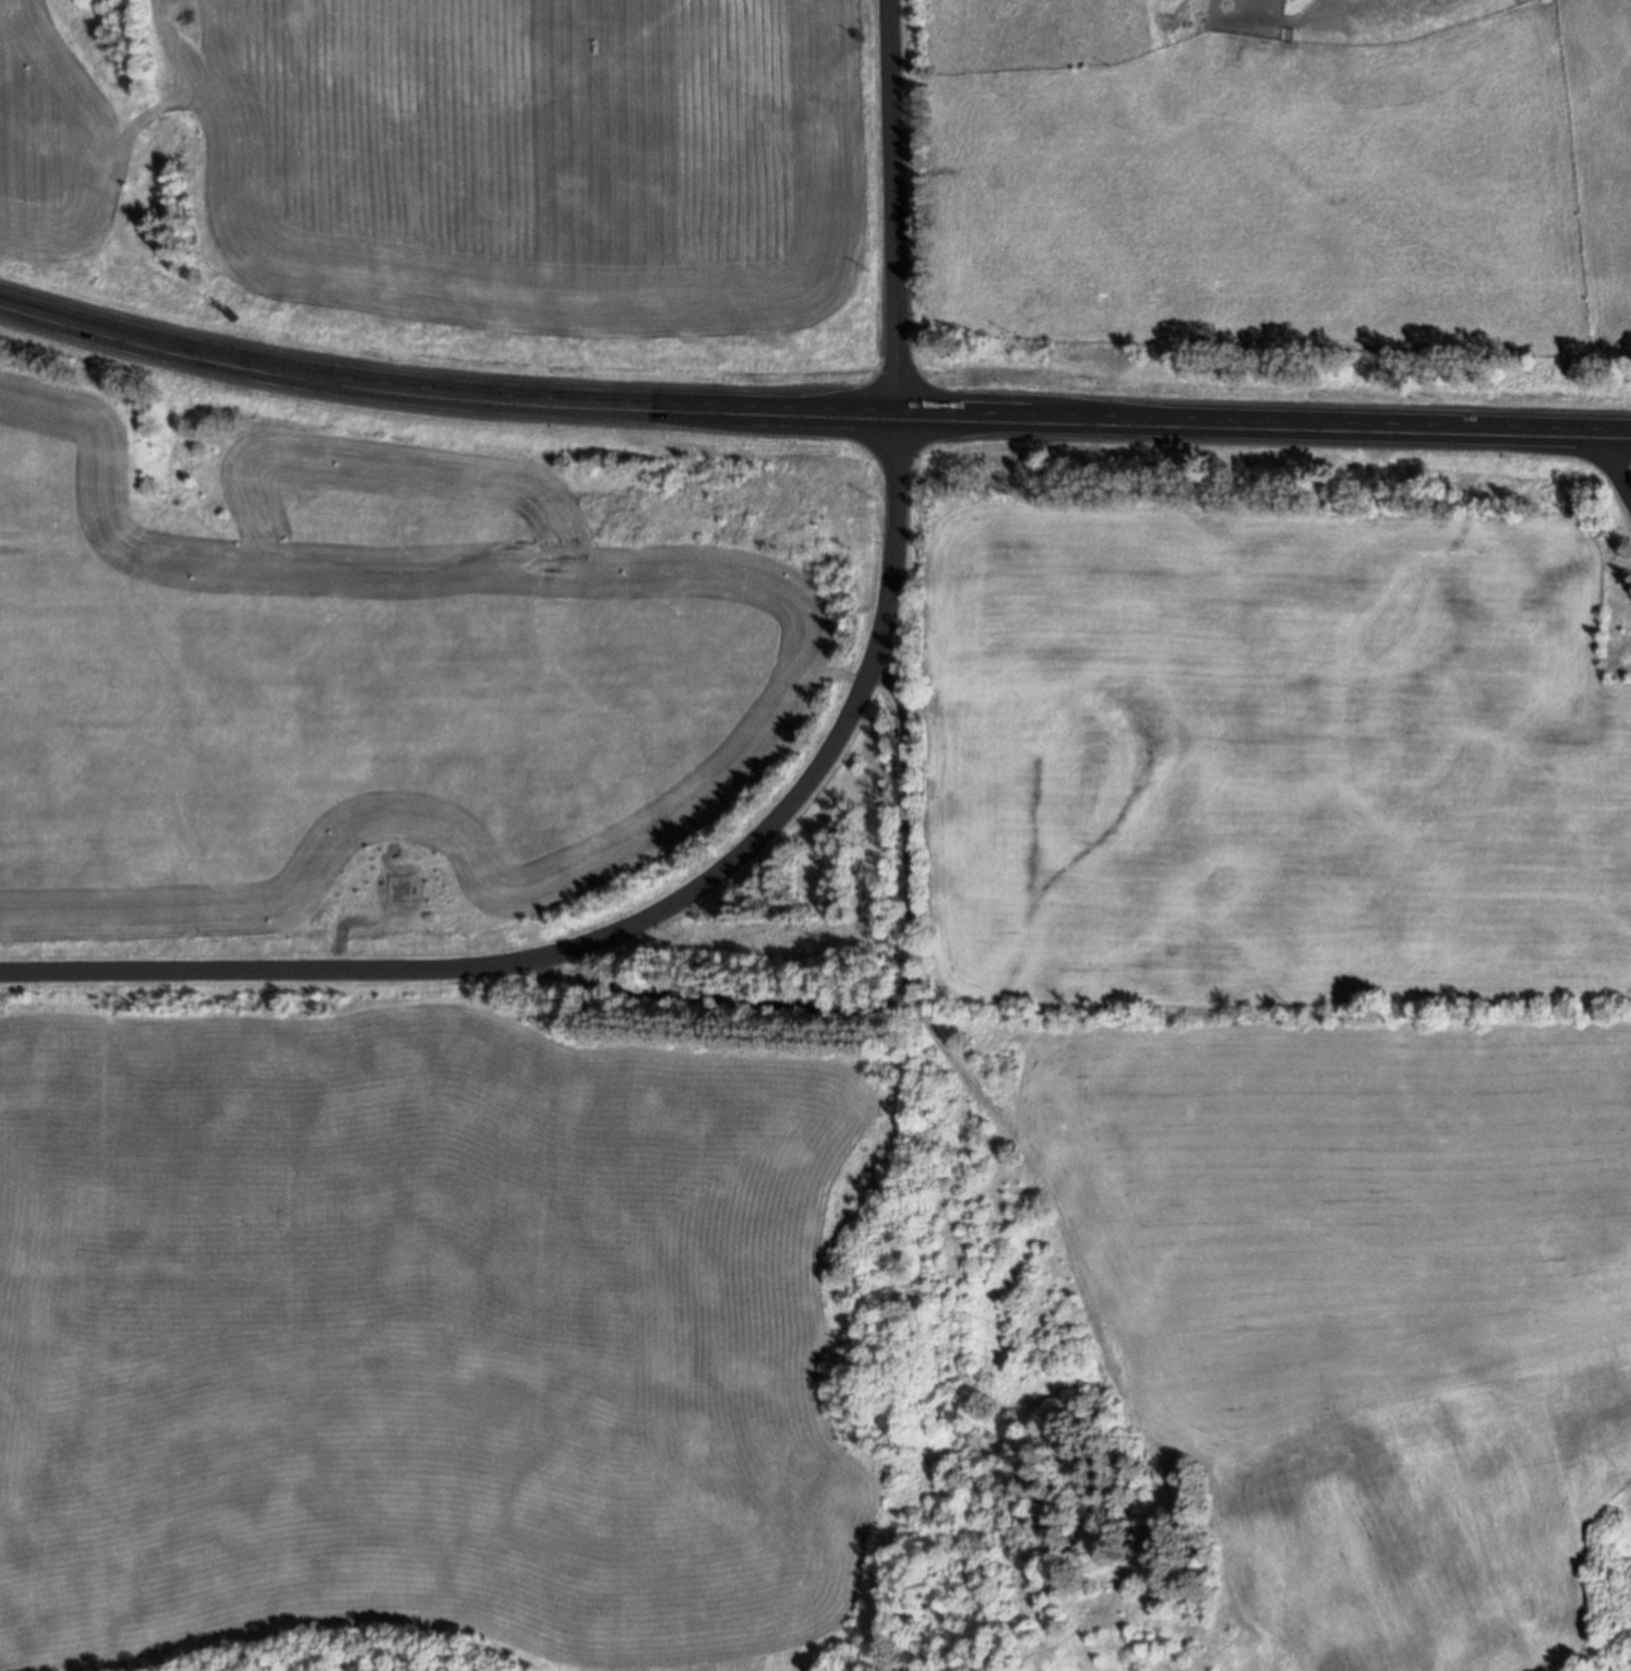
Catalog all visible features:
road: (894, 208)
road: (113, 335)
road: (928, 417)
road: (1614, 466)
park: (1615, 562)
crop: (393, 659)
road: (622, 931)
road: (906, 1012)
road: (1100, 1335)

